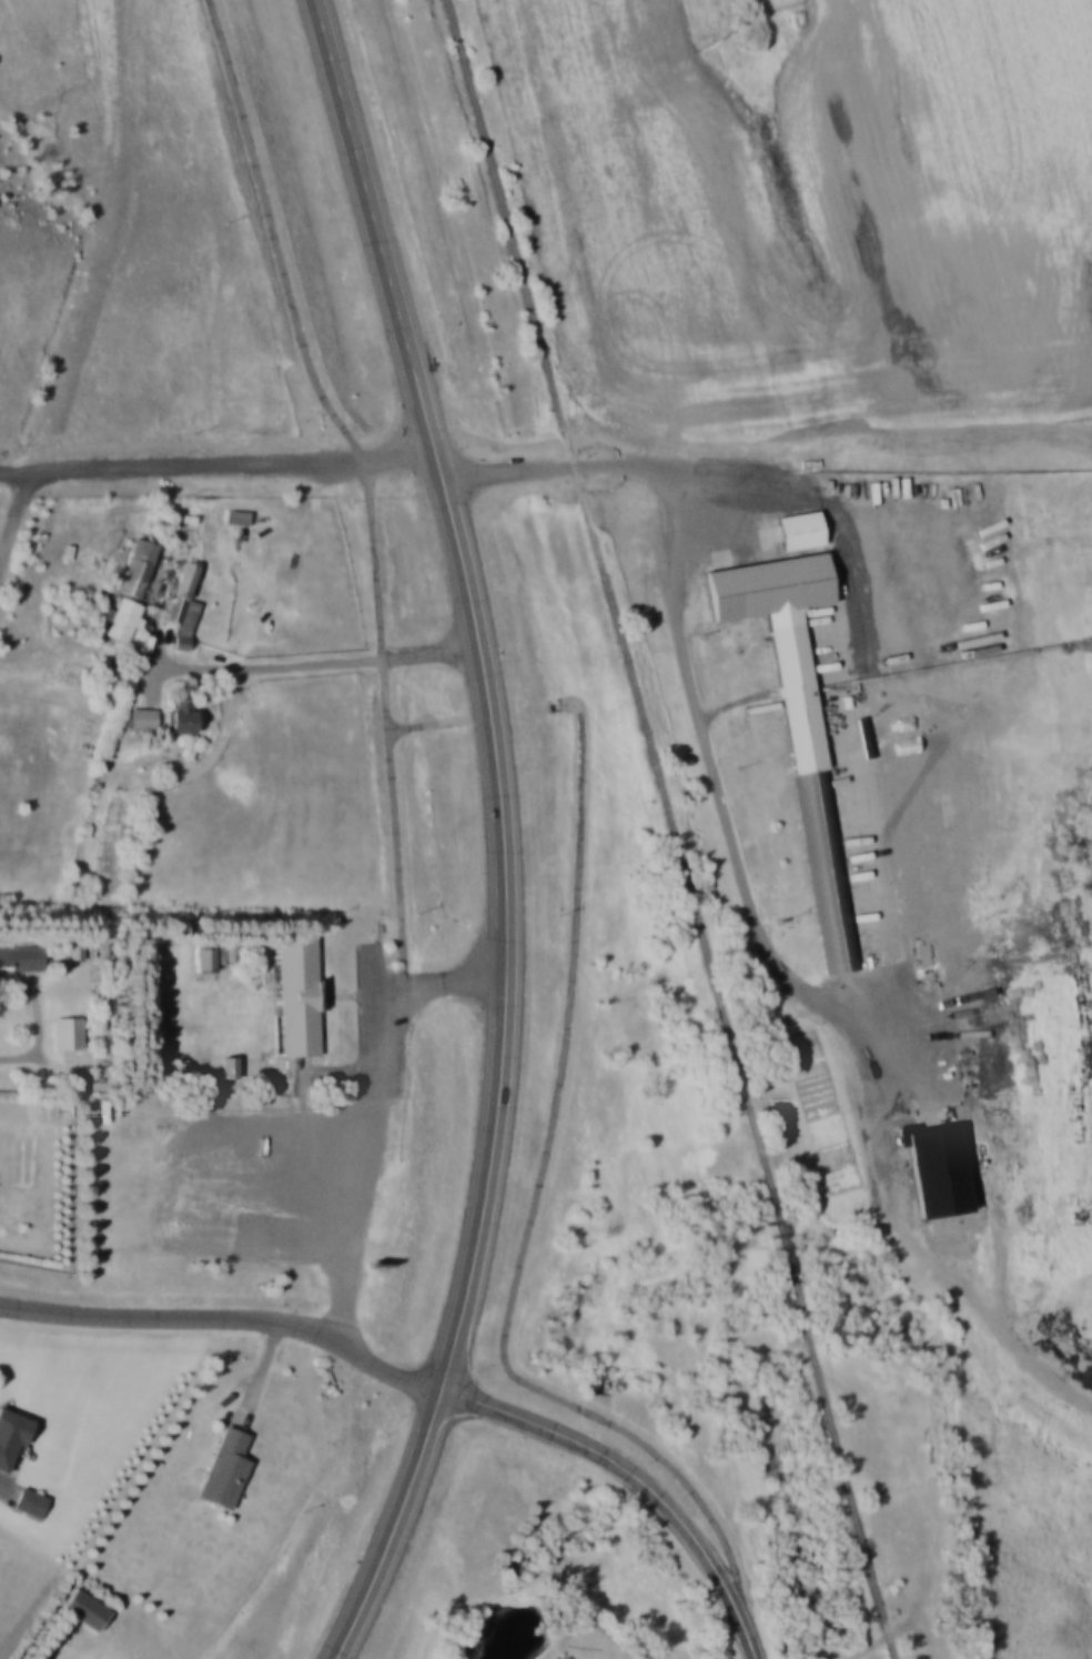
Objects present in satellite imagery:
road: (360, 460)
road: (666, 465)
road: (232, 466)
road: (14, 470)
building: (239, 515)
road: (14, 517)
building: (799, 530)
building: (139, 566)
building: (184, 604)
building: (127, 619)
road: (306, 664)
building: (181, 713)
building: (143, 717)
building: (798, 717)
road: (419, 728)
railway: (670, 829)
road: (501, 832)
building: (75, 949)
building: (21, 957)
building: (208, 958)
road: (451, 976)
road: (788, 977)
building: (296, 994)
building: (68, 1030)
road: (41, 1036)
building: (229, 1065)
road: (370, 1140)
road: (533, 1218)
road: (228, 1318)
building: (12, 1434)
building: (224, 1467)
road: (637, 1480)
building: (30, 1500)
building: (84, 1608)

